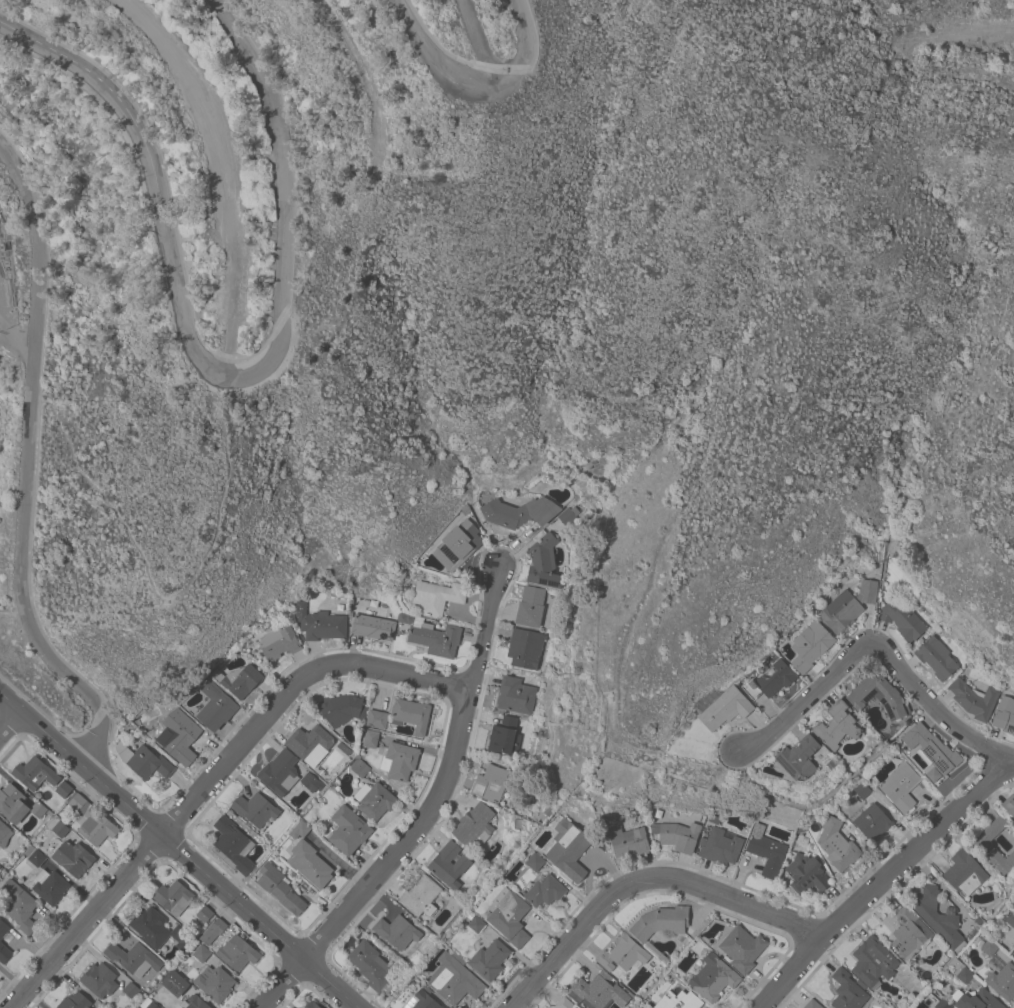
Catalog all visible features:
road: (956, 29)
road: (474, 41)
road: (476, 83)
road: (217, 174)
road: (16, 341)
road: (218, 375)
road: (28, 465)
building: (518, 512)
building: (568, 515)
building: (457, 545)
building: (543, 561)
building: (437, 596)
building: (530, 606)
building: (847, 606)
building: (902, 620)
building: (319, 623)
building: (373, 627)
building: (434, 637)
building: (278, 642)
building: (810, 645)
building: (525, 648)
road: (882, 648)
building: (936, 657)
building: (239, 680)
building: (769, 681)
building: (515, 695)
building: (878, 696)
building: (974, 699)
building: (215, 706)
building: (725, 708)
building: (343, 709)
building: (411, 714)
building: (1004, 715)
building: (377, 719)
road: (11, 723)
building: (837, 725)
building: (179, 736)
building: (504, 736)
building: (370, 738)
building: (310, 743)
building: (931, 748)
building: (799, 757)
building: (144, 761)
building: (399, 761)
building: (360, 768)
building: (279, 772)
building: (35, 773)
road: (215, 778)
building: (311, 782)
building: (490, 783)
building: (900, 786)
building: (63, 789)
building: (862, 790)
building: (375, 800)
building: (17, 804)
building: (1009, 804)
building: (255, 809)
road: (430, 812)
building: (92, 822)
building: (872, 822)
road: (153, 824)
building: (57, 826)
building: (474, 826)
building: (300, 829)
building: (348, 830)
building: (4, 834)
building: (679, 836)
building: (627, 840)
building: (233, 844)
building: (836, 844)
building: (720, 846)
building: (983, 846)
building: (568, 849)
building: (766, 851)
building: (34, 856)
building: (73, 858)
building: (534, 861)
building: (310, 864)
building: (449, 864)
building: (964, 873)
building: (806, 875)
road: (884, 879)
road: (646, 880)
building: (49, 886)
building: (280, 888)
building: (545, 891)
building: (420, 895)
building: (173, 897)
building: (19, 906)
building: (204, 914)
building: (509, 916)
building: (937, 917)
building: (1010, 918)
building: (661, 922)
building: (477, 923)
building: (3, 928)
building: (157, 929)
building: (213, 931)
building: (397, 932)
building: (907, 934)
building: (989, 947)
building: (742, 948)
building: (1012, 952)
building: (4, 953)
building: (201, 953)
building: (238, 953)
building: (622, 953)
building: (133, 958)
building: (490, 959)
building: (873, 961)
building: (369, 964)
building: (963, 974)
building: (713, 977)
building: (454, 979)
building: (99, 980)
building: (1003, 981)
building: (214, 982)
building: (175, 983)
road: (331, 984)
building: (130, 990)
building: (599, 990)
building: (848, 991)
building: (74, 1001)
building: (421, 1001)
building: (679, 1001)
building: (979, 1001)
building: (197, 1002)
building: (148, 1003)
building: (564, 1003)
building: (812, 1004)
building: (943, 1004)
building: (311, 1005)
building: (183, 1007)
building: (639, 1007)
building: (642, 1007)

